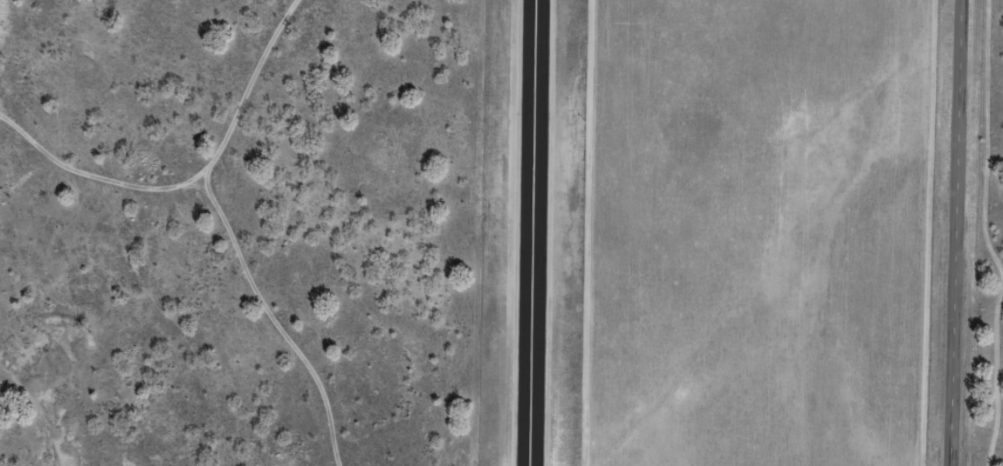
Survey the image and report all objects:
road: (955, 233)
road: (222, 240)

